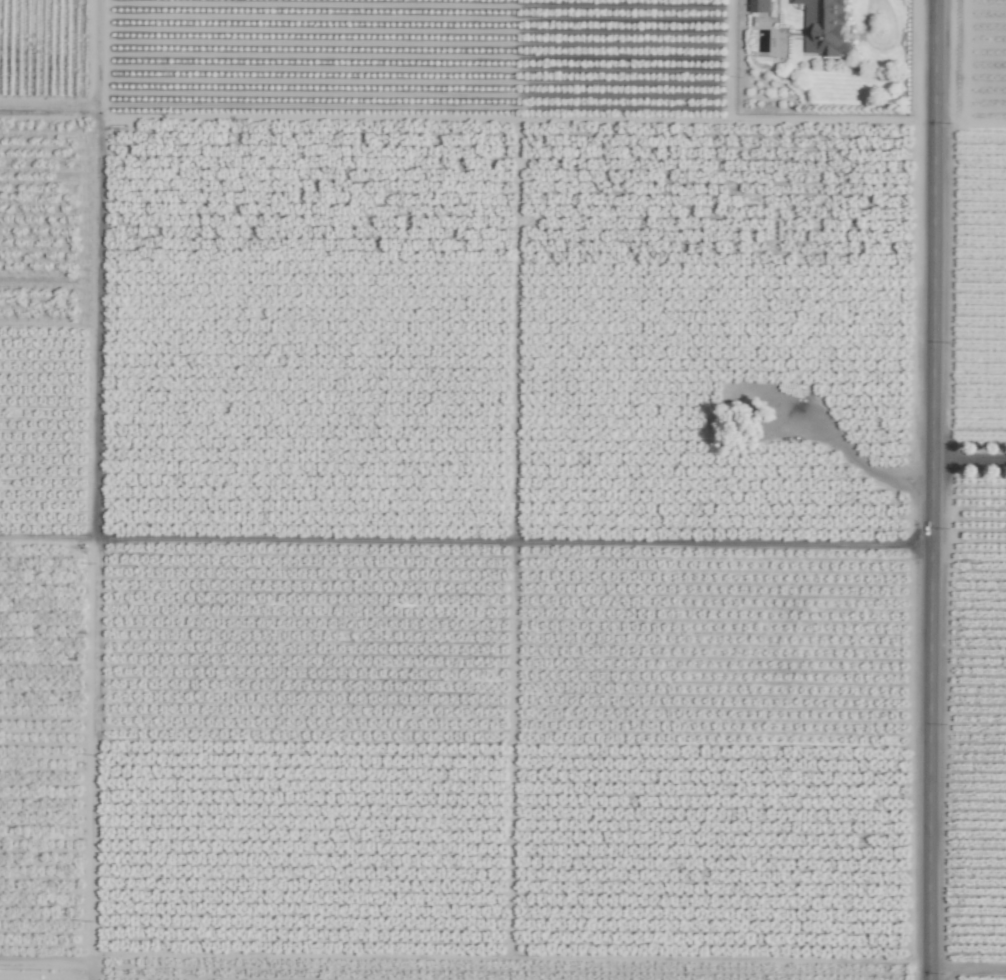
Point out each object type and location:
building: (760, 5)
building: (825, 27)
road: (968, 459)
road: (930, 489)
road: (968, 550)

